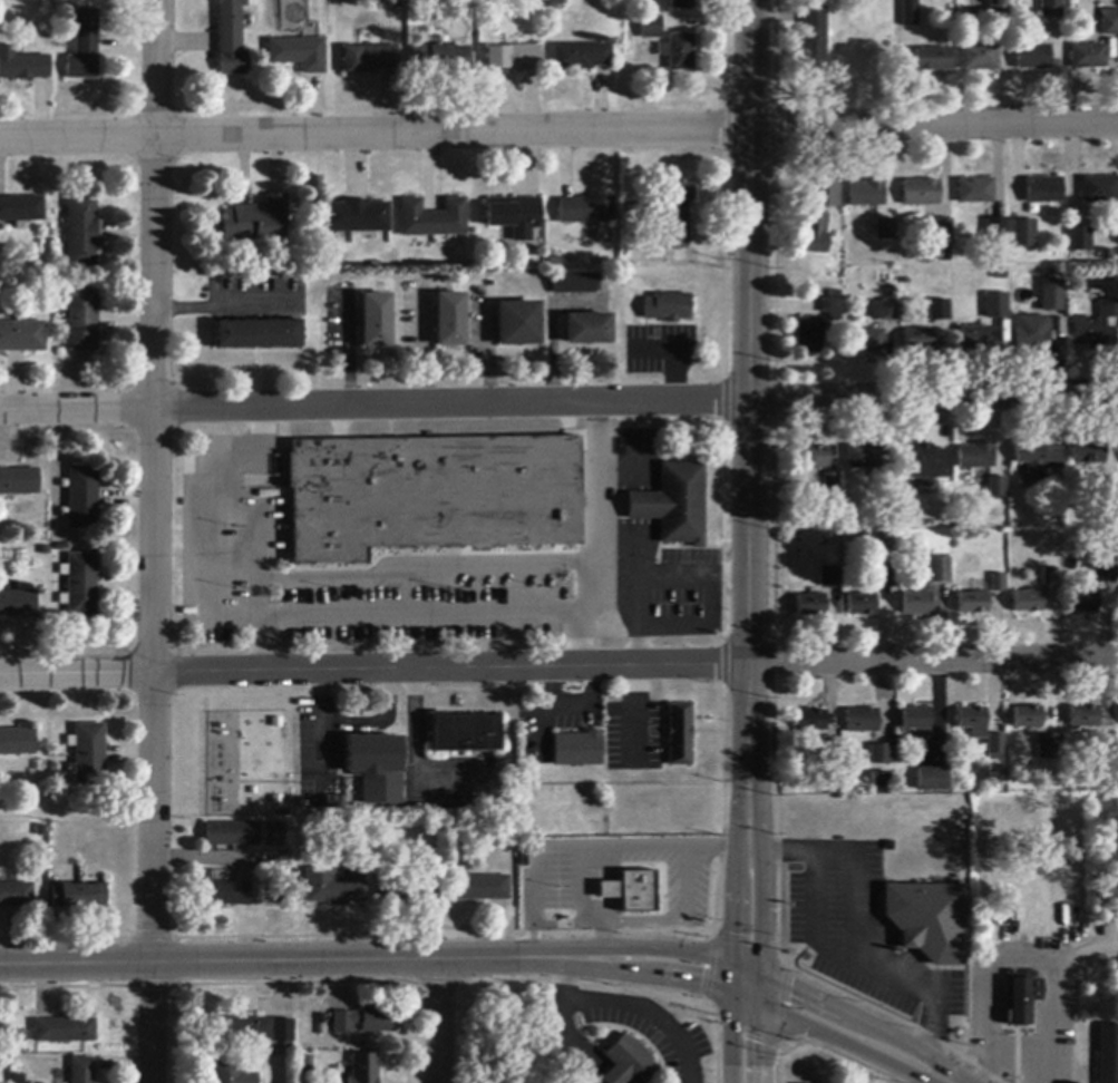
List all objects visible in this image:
building: (682, 4)
building: (1000, 8)
building: (1051, 8)
building: (911, 13)
building: (1110, 22)
building: (651, 27)
building: (230, 38)
building: (811, 42)
building: (84, 47)
building: (678, 52)
building: (298, 53)
building: (581, 57)
building: (980, 57)
building: (1033, 57)
building: (1089, 57)
building: (368, 59)
building: (439, 59)
building: (514, 59)
building: (933, 59)
building: (22, 66)
road: (558, 131)
building: (1099, 189)
building: (1044, 191)
building: (976, 192)
building: (922, 193)
building: (867, 194)
building: (829, 195)
building: (586, 209)
building: (21, 211)
building: (677, 214)
building: (515, 216)
building: (357, 217)
building: (432, 218)
building: (255, 221)
building: (881, 224)
building: (997, 230)
building: (81, 232)
building: (942, 234)
building: (1023, 234)
building: (813, 235)
building: (1080, 240)
building: (575, 283)
building: (1050, 293)
building: (994, 303)
road: (225, 305)
building: (672, 308)
building: (833, 309)
building: (885, 310)
building: (940, 311)
building: (1056, 319)
building: (82, 320)
building: (376, 321)
building: (450, 321)
building: (518, 324)
building: (1093, 326)
building: (589, 330)
building: (259, 334)
building: (1031, 334)
building: (22, 336)
building: (810, 336)
building: (975, 339)
building: (918, 340)
building: (866, 341)
road: (751, 368)
road: (558, 403)
building: (1088, 453)
building: (976, 456)
building: (864, 457)
building: (814, 458)
building: (1038, 459)
building: (926, 464)
building: (18, 481)
building: (887, 482)
building: (832, 487)
building: (998, 488)
building: (1110, 489)
road: (641, 490)
building: (431, 495)
building: (81, 498)
building: (674, 505)
road: (592, 509)
road: (240, 536)
road: (155, 541)
building: (940, 569)
building: (1105, 569)
building: (884, 570)
building: (829, 576)
building: (1051, 577)
road: (652, 579)
building: (999, 584)
building: (81, 585)
road: (615, 585)
building: (1029, 602)
building: (1083, 602)
building: (974, 603)
building: (18, 604)
building: (917, 604)
building: (862, 605)
building: (811, 606)
road: (445, 611)
road: (558, 667)
road: (322, 695)
building: (1085, 716)
building: (1027, 718)
building: (917, 719)
road: (380, 720)
building: (863, 721)
building: (974, 722)
building: (810, 724)
building: (461, 732)
building: (680, 735)
building: (17, 742)
building: (1106, 744)
road: (324, 745)
building: (997, 748)
building: (1051, 748)
building: (577, 749)
building: (824, 754)
building: (88, 755)
building: (372, 755)
road: (417, 755)
building: (882, 755)
building: (882, 779)
building: (933, 780)
building: (231, 835)
building: (272, 836)
road: (748, 846)
road: (213, 855)
building: (333, 887)
building: (480, 889)
building: (408, 890)
building: (632, 892)
building: (223, 894)
building: (16, 895)
building: (77, 896)
building: (284, 897)
road: (678, 905)
road: (733, 908)
road: (760, 908)
road: (550, 920)
building: (929, 920)
road: (855, 924)
road: (1086, 950)
road: (264, 962)
traffic signals: (731, 962)
road: (759, 973)
traffic signals: (760, 974)
traffic signals: (731, 992)
road: (735, 993)
road: (990, 993)
building: (1023, 999)
traffic signals: (760, 1006)
building: (364, 1021)
road: (435, 1021)
road: (1052, 1021)
building: (255, 1030)
building: (65, 1031)
building: (1108, 1053)
building: (629, 1063)
building: (305, 1065)
building: (363, 1069)
building: (81, 1071)
building: (232, 1073)

